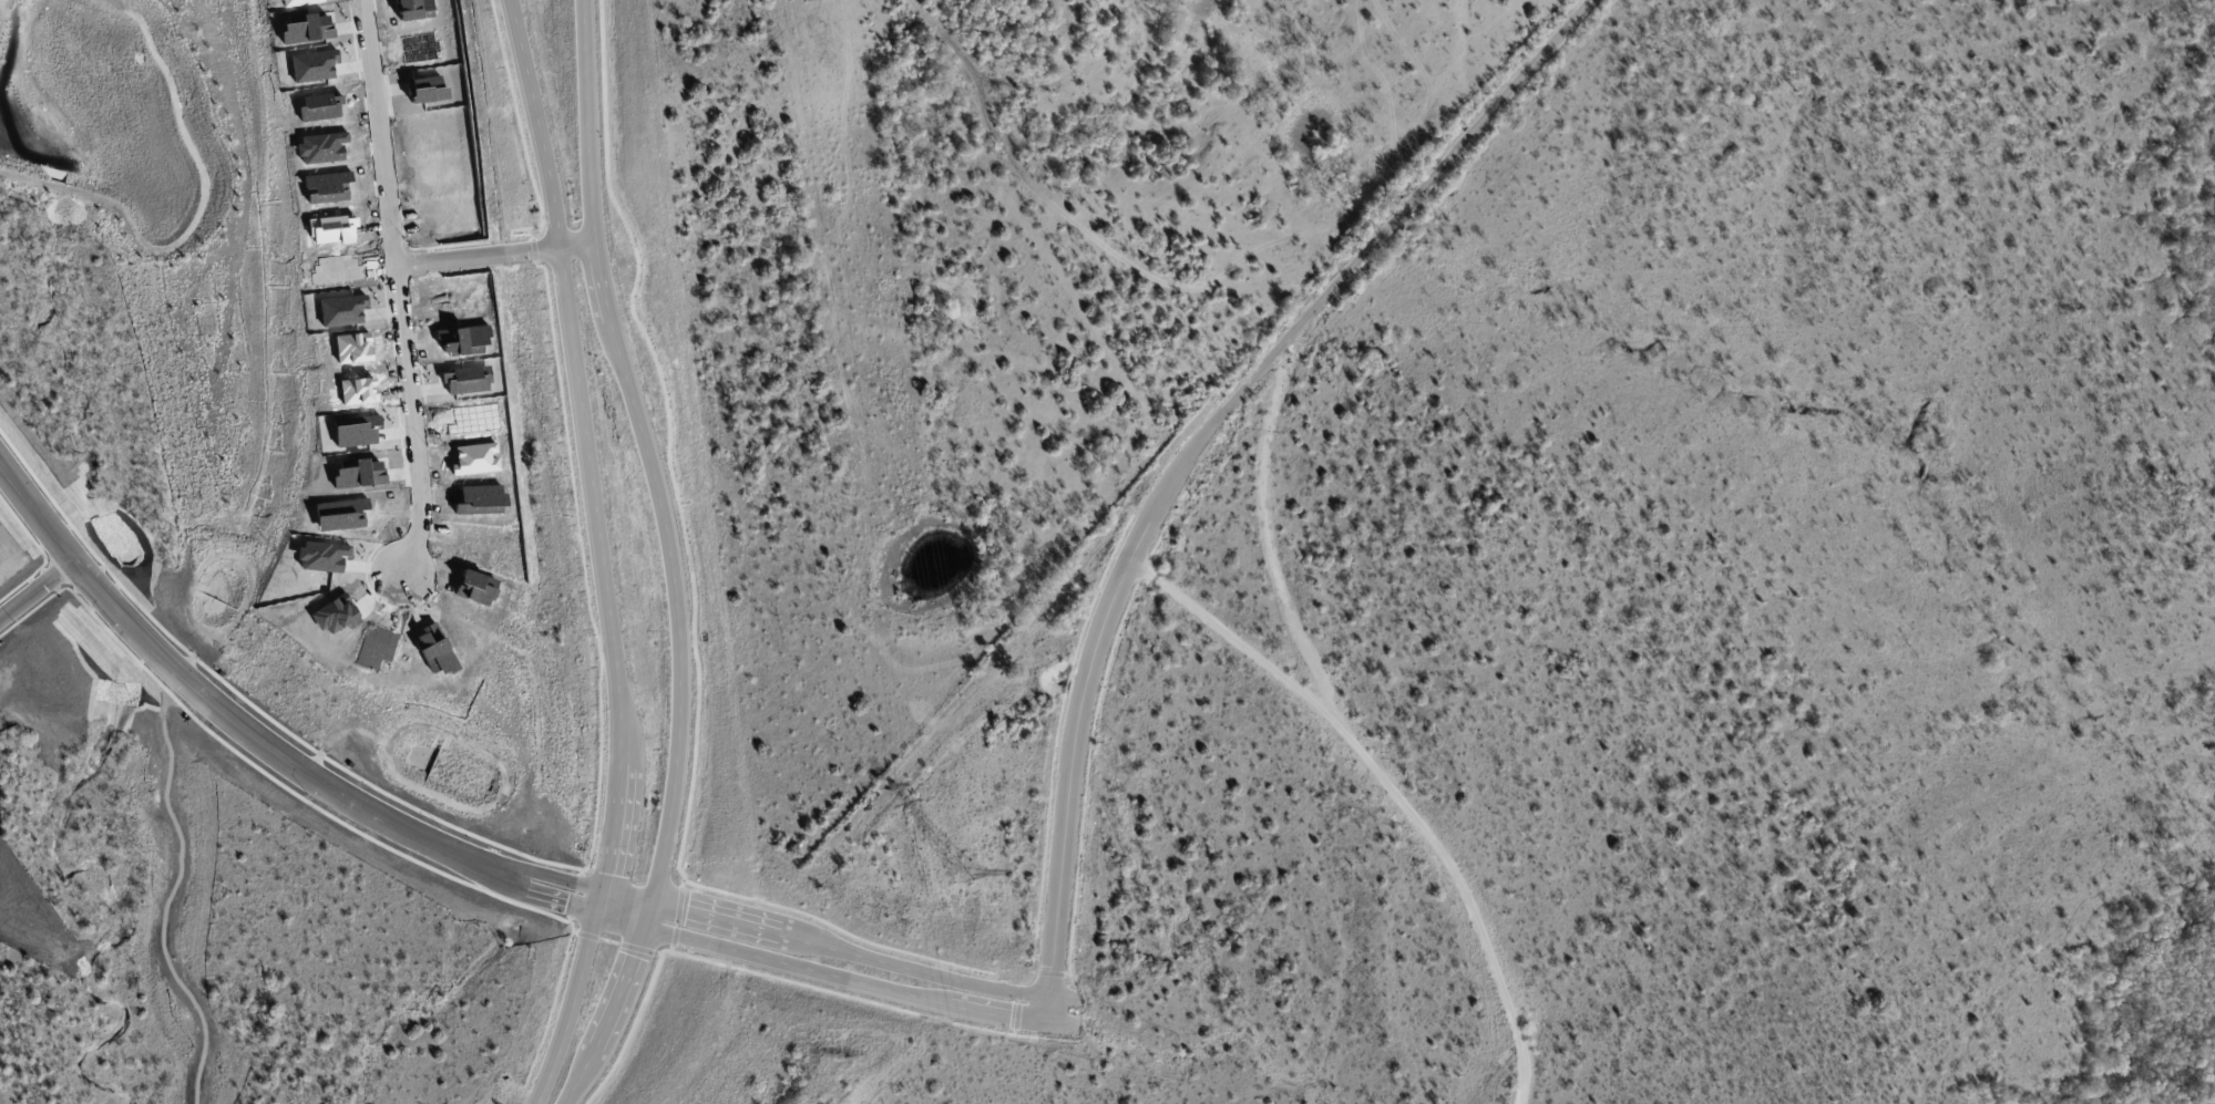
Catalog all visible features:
road: (499, 248)
road: (408, 285)
road: (1192, 452)
road: (1269, 527)
road: (605, 554)
road: (669, 557)
road: (38, 591)
power tower: (930, 683)
road: (214, 705)
road: (1391, 790)
power tower: (962, 874)
road: (577, 885)
road: (572, 909)
road: (854, 955)
road: (849, 983)
road: (1062, 1003)
road: (1059, 1028)

